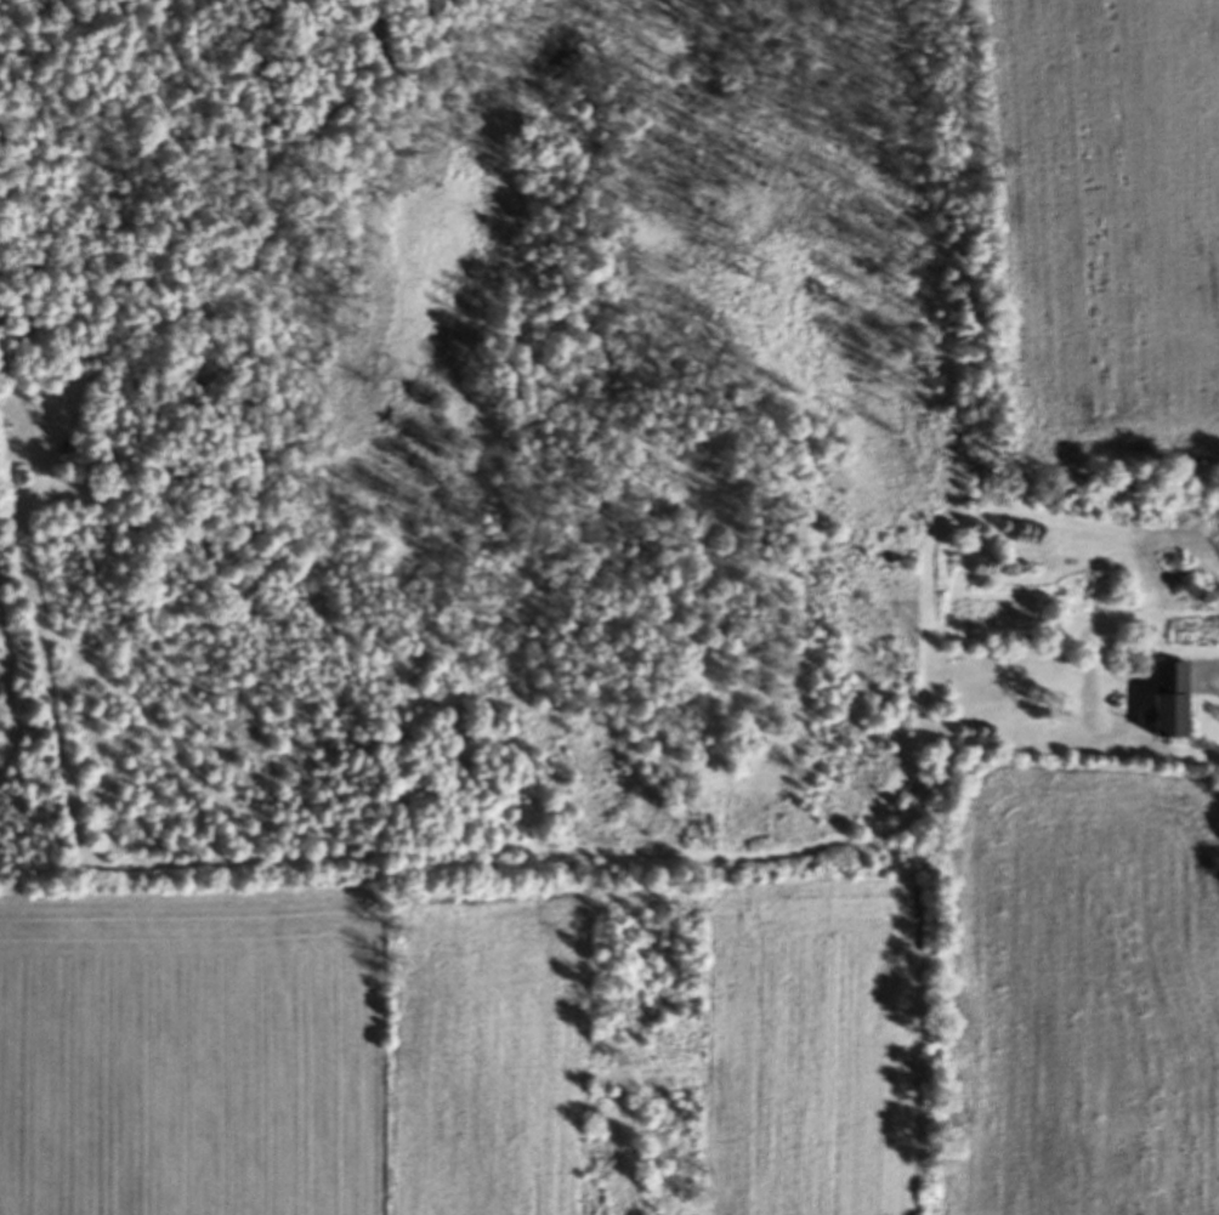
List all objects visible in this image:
road: (1215, 680)
building: (1172, 703)

